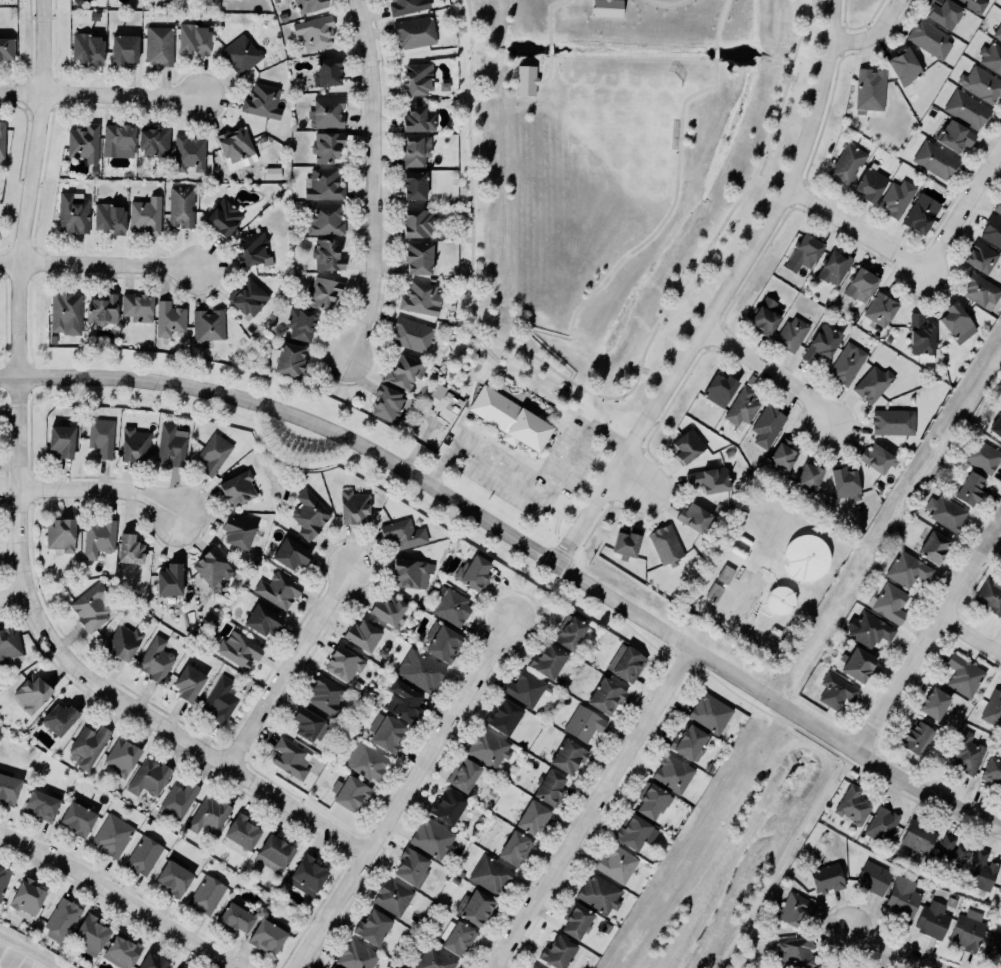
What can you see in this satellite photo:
road: (668, 4)
building: (974, 4)
building: (308, 5)
building: (406, 6)
building: (608, 8)
building: (943, 12)
road: (550, 15)
road: (720, 22)
building: (413, 30)
building: (313, 31)
building: (997, 31)
road: (872, 33)
building: (194, 37)
building: (928, 38)
building: (157, 43)
road: (551, 47)
building: (6, 48)
building: (87, 48)
building: (124, 48)
road: (717, 52)
building: (239, 53)
building: (991, 57)
building: (902, 65)
building: (326, 71)
road: (550, 71)
building: (417, 78)
building: (527, 81)
building: (981, 84)
building: (868, 88)
road: (101, 93)
building: (262, 101)
building: (967, 109)
building: (329, 112)
park: (632, 114)
building: (417, 118)
building: (955, 136)
building: (2, 139)
building: (153, 139)
building: (118, 140)
building: (82, 141)
building: (234, 144)
building: (325, 145)
building: (414, 149)
building: (187, 152)
building: (934, 158)
building: (846, 162)
road: (374, 178)
building: (411, 181)
building: (869, 183)
building: (322, 184)
building: (896, 197)
building: (181, 206)
building: (997, 206)
road: (961, 209)
building: (71, 212)
building: (920, 212)
building: (145, 214)
building: (108, 217)
building: (223, 217)
building: (324, 218)
park: (598, 219)
building: (417, 222)
building: (992, 230)
road: (854, 232)
building: (251, 248)
building: (805, 249)
building: (326, 254)
road: (625, 255)
building: (980, 256)
building: (417, 257)
road: (98, 263)
building: (833, 266)
building: (860, 283)
building: (979, 288)
building: (322, 292)
road: (726, 292)
building: (246, 296)
building: (420, 297)
building: (136, 306)
building: (879, 308)
building: (103, 309)
building: (63, 310)
building: (766, 315)
building: (169, 318)
building: (299, 322)
building: (955, 322)
building: (209, 324)
building: (409, 333)
building: (790, 333)
building: (822, 342)
building: (286, 358)
building: (467, 358)
building: (846, 362)
road: (504, 366)
building: (402, 371)
road: (771, 374)
building: (873, 383)
road: (530, 386)
building: (719, 389)
road: (1, 390)
road: (3, 390)
building: (437, 391)
road: (600, 394)
park: (4, 396)
road: (522, 397)
road: (5, 399)
road: (468, 401)
building: (386, 403)
building: (741, 405)
road: (604, 409)
building: (509, 417)
building: (892, 421)
building: (767, 425)
building: (996, 425)
road: (599, 430)
road: (555, 432)
building: (101, 436)
building: (62, 439)
road: (551, 443)
building: (134, 444)
building: (171, 444)
road: (503, 445)
building: (686, 445)
road: (496, 447)
road: (550, 450)
building: (214, 453)
building: (781, 453)
building: (980, 455)
parking lot: (485, 457)
building: (876, 458)
road: (490, 466)
building: (807, 476)
building: (708, 478)
road: (632, 482)
building: (845, 482)
building: (966, 486)
building: (237, 487)
road: (575, 489)
road: (103, 490)
road: (537, 495)
building: (353, 506)
building: (945, 511)
road: (21, 514)
building: (308, 514)
building: (692, 516)
building: (236, 531)
building: (403, 532)
building: (60, 533)
building: (98, 536)
road: (521, 537)
building: (626, 542)
building: (666, 545)
building: (934, 546)
building: (128, 548)
building: (290, 553)
building: (806, 557)
building: (213, 566)
building: (907, 569)
building: (408, 572)
building: (472, 572)
building: (725, 573)
building: (170, 579)
road: (10, 580)
road: (4, 581)
building: (277, 590)
building: (714, 591)
building: (989, 596)
road: (13, 597)
building: (780, 599)
building: (889, 603)
building: (452, 605)
building: (89, 606)
building: (387, 609)
building: (262, 619)
building: (868, 629)
building: (570, 632)
building: (363, 634)
road: (926, 635)
road: (969, 636)
building: (441, 640)
building: (123, 641)
building: (8, 642)
building: (239, 649)
building: (155, 659)
building: (547, 660)
building: (342, 662)
building: (625, 662)
building: (858, 664)
road: (290, 666)
building: (419, 669)
building: (962, 674)
building: (188, 682)
building: (356, 684)
building: (525, 688)
building: (836, 690)
building: (31, 692)
building: (325, 695)
building: (606, 695)
building: (220, 699)
building: (403, 701)
building: (933, 702)
building: (992, 708)
building: (709, 712)
building: (503, 715)
building: (58, 718)
building: (305, 722)
building: (582, 722)
building: (385, 732)
building: (916, 738)
building: (690, 742)
building: (86, 745)
building: (487, 747)
building: (966, 753)
building: (120, 755)
building: (568, 756)
building: (290, 758)
building: (365, 761)
building: (991, 770)
building: (673, 773)
building: (463, 774)
building: (148, 776)
building: (551, 787)
building: (7, 788)
building: (348, 792)
road: (404, 794)
building: (178, 798)
building: (651, 799)
building: (41, 803)
building: (852, 804)
building: (447, 806)
road: (592, 809)
building: (207, 814)
building: (532, 817)
building: (76, 818)
building: (882, 823)
building: (240, 830)
building: (631, 831)
building: (111, 834)
building: (432, 838)
building: (918, 839)
building: (513, 847)
building: (274, 853)
building: (948, 853)
building: (143, 855)
road: (782, 858)
building: (617, 864)
building: (411, 867)
building: (981, 870)
building: (489, 873)
building: (307, 874)
building: (174, 875)
building: (826, 877)
building: (873, 877)
building: (3, 878)
building: (1000, 888)
building: (206, 894)
building: (599, 894)
road: (119, 895)
building: (25, 897)
building: (392, 897)
building: (903, 898)
building: (476, 907)
building: (793, 908)
building: (235, 916)
building: (61, 918)
building: (932, 918)
building: (577, 921)
building: (372, 926)
building: (965, 931)
building: (89, 933)
building: (268, 934)
building: (457, 937)
building: (992, 945)
building: (121, 950)
building: (556, 951)
road: (892, 951)
building: (795, 952)
building: (355, 955)
building: (434, 959)
building: (151, 961)
building: (175, 967)
building: (177, 967)
building: (332, 967)
building: (533, 967)
building: (834, 967)

